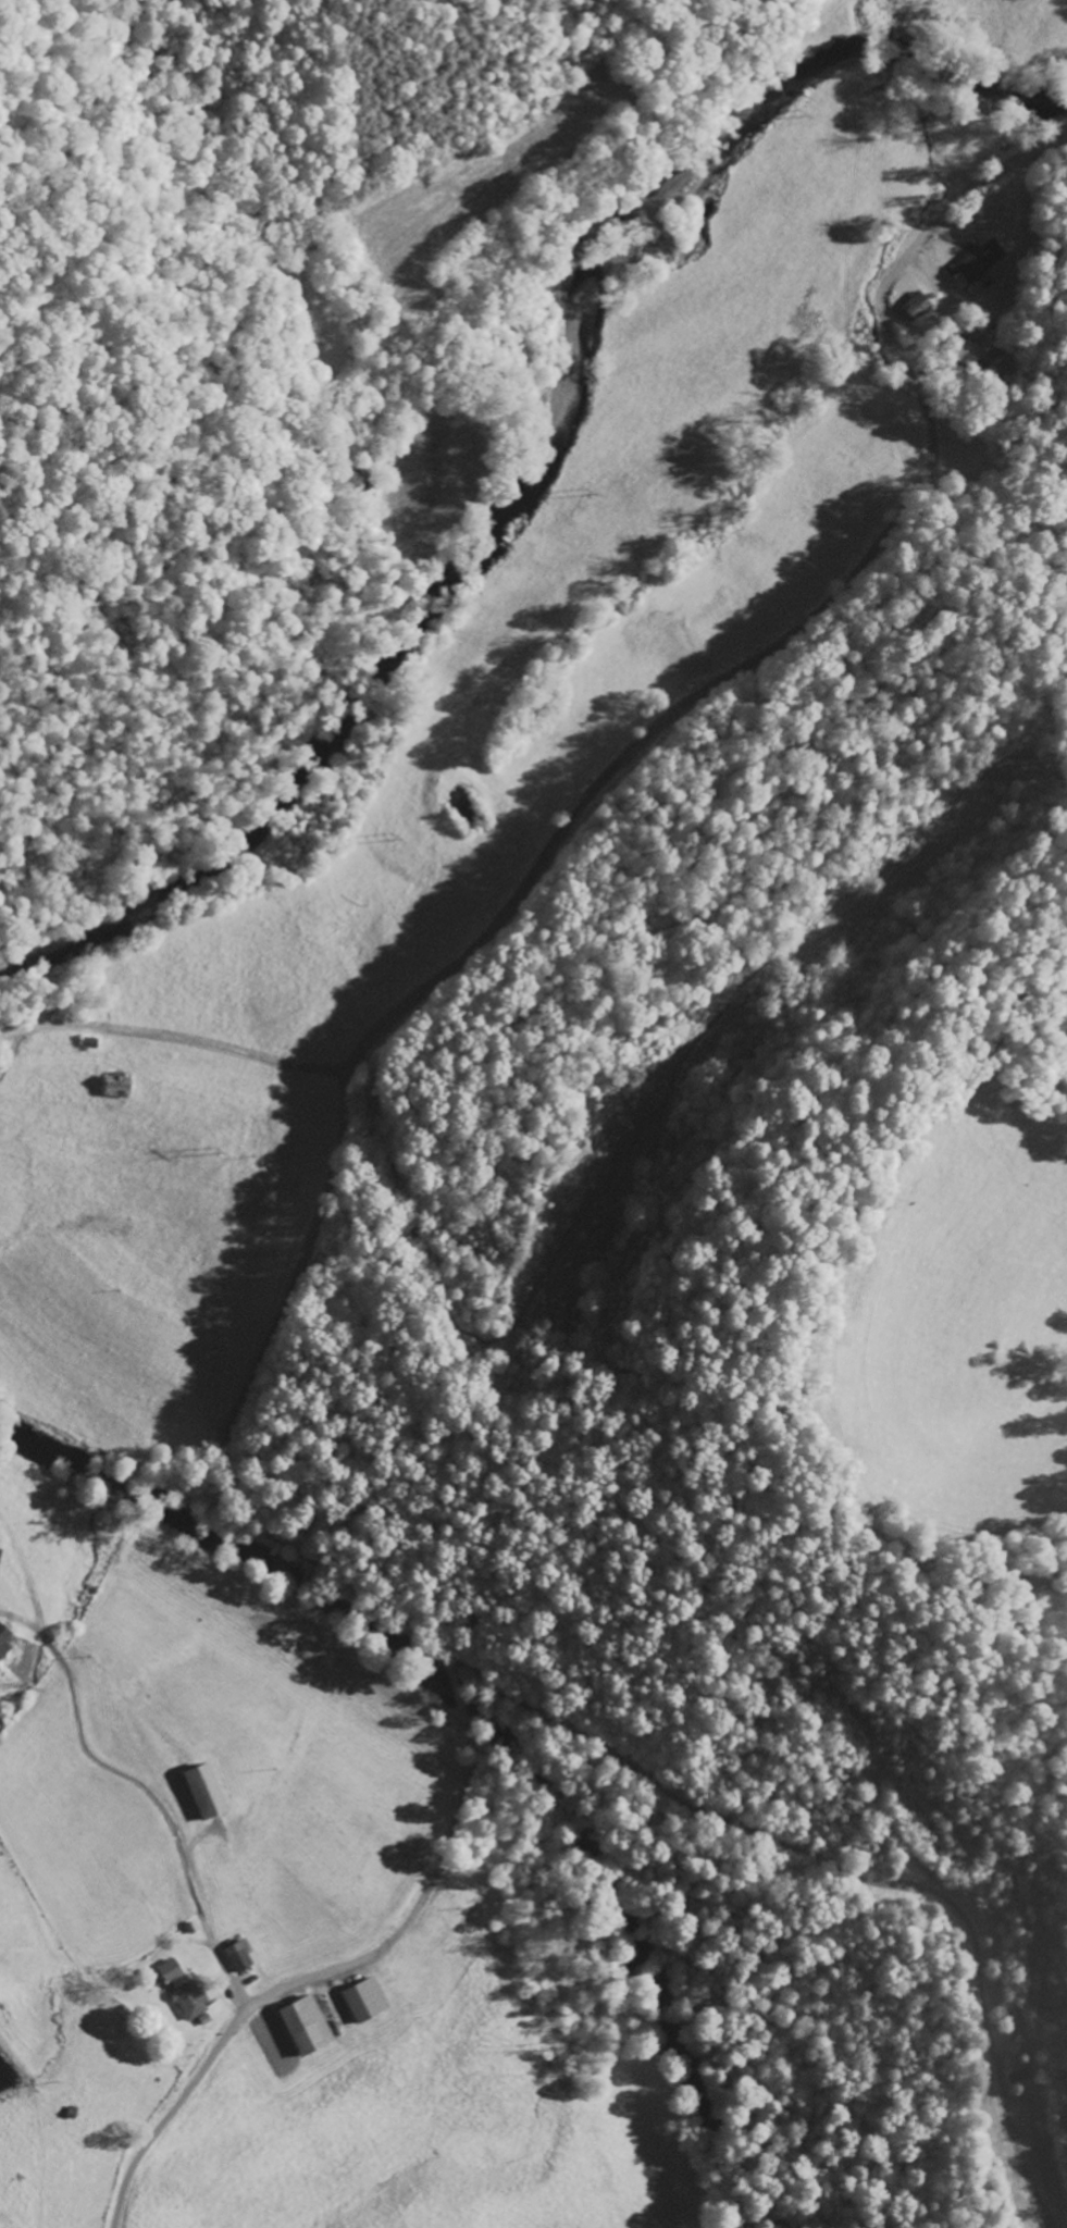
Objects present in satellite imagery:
road: (666, 117)
building: (973, 264)
building: (915, 306)
road: (736, 673)
building: (113, 1086)
road: (161, 1141)
power tower: (227, 1147)
road: (247, 1511)
building: (0, 1550)
building: (3, 1641)
building: (200, 1791)
building: (237, 1955)
building: (168, 1970)
road: (309, 1976)
building: (187, 1998)
building: (362, 1998)
building: (301, 2025)
building: (1016, 2075)

